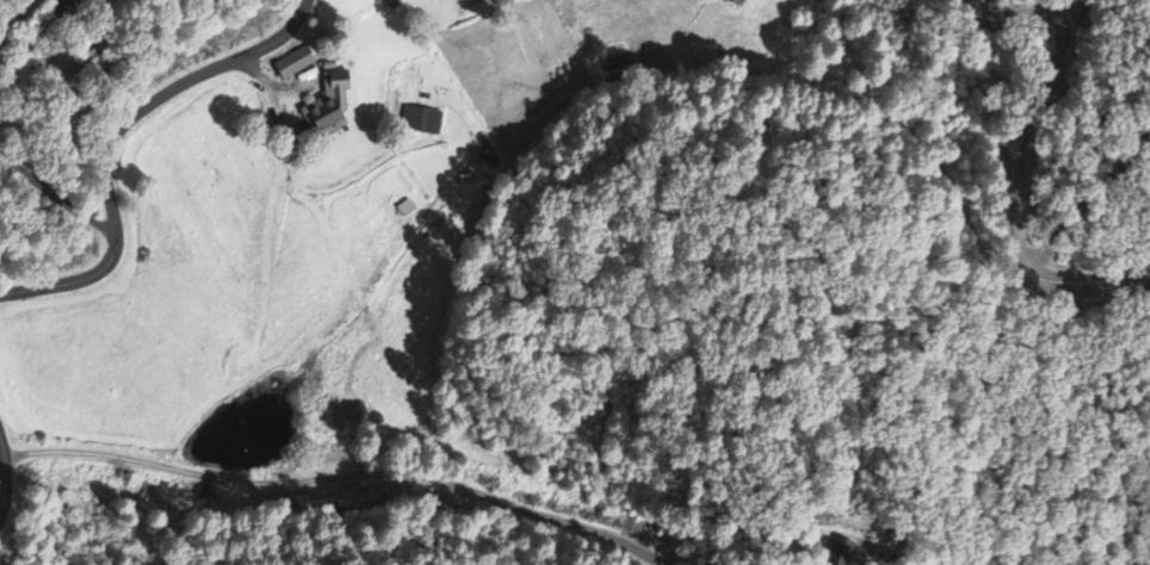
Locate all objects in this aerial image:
building: (497, 1)
building: (292, 64)
building: (327, 107)
building: (420, 122)
road: (99, 144)
road: (1020, 159)
road: (16, 468)
building: (842, 553)

